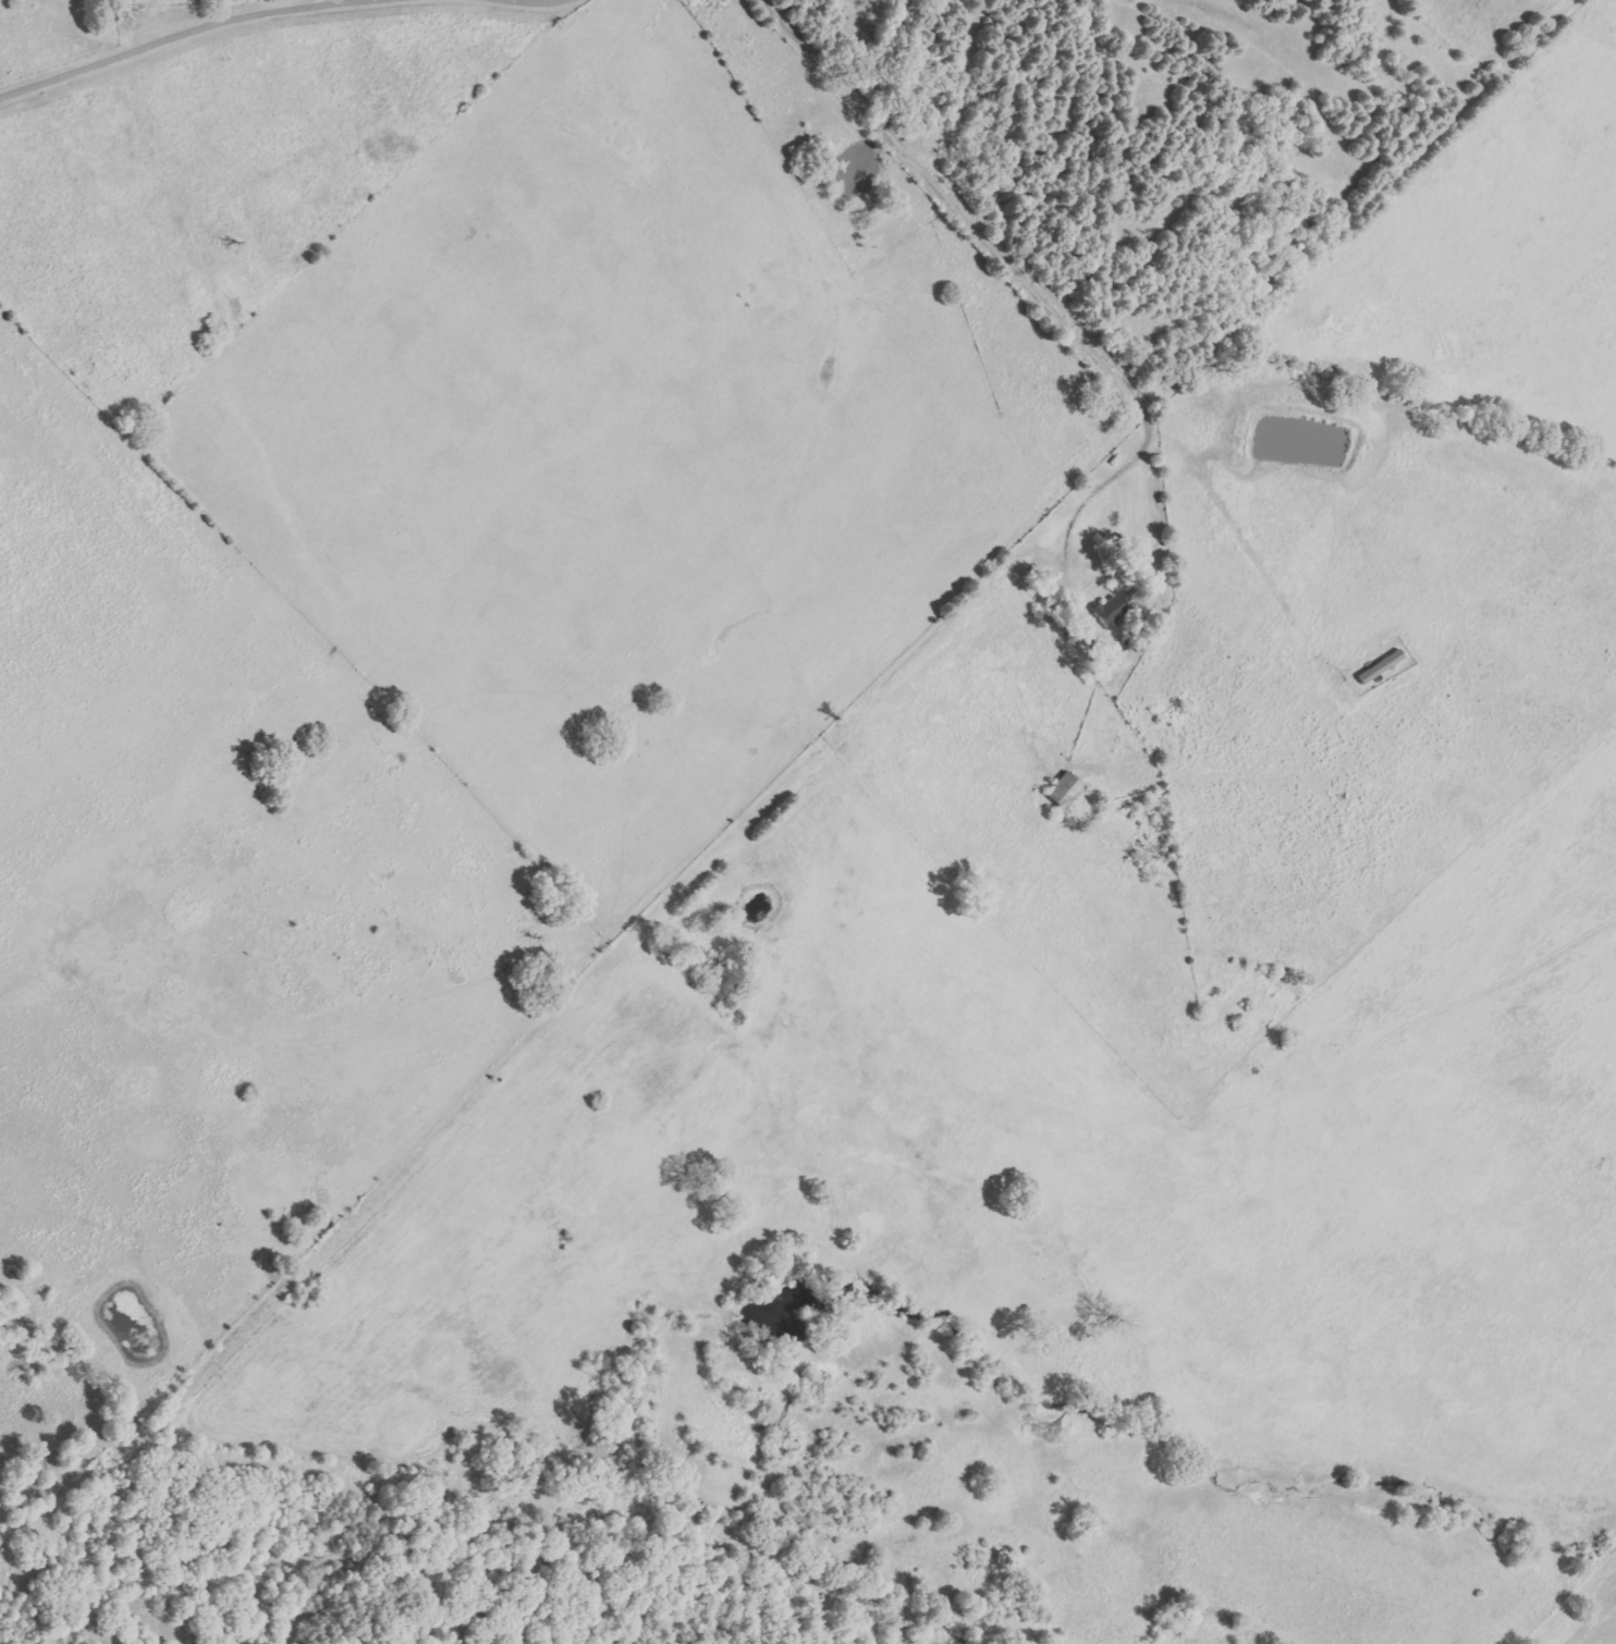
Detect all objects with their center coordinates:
road: (539, 3)
road: (183, 34)
road: (953, 210)
road: (54, 578)
building: (1106, 612)

